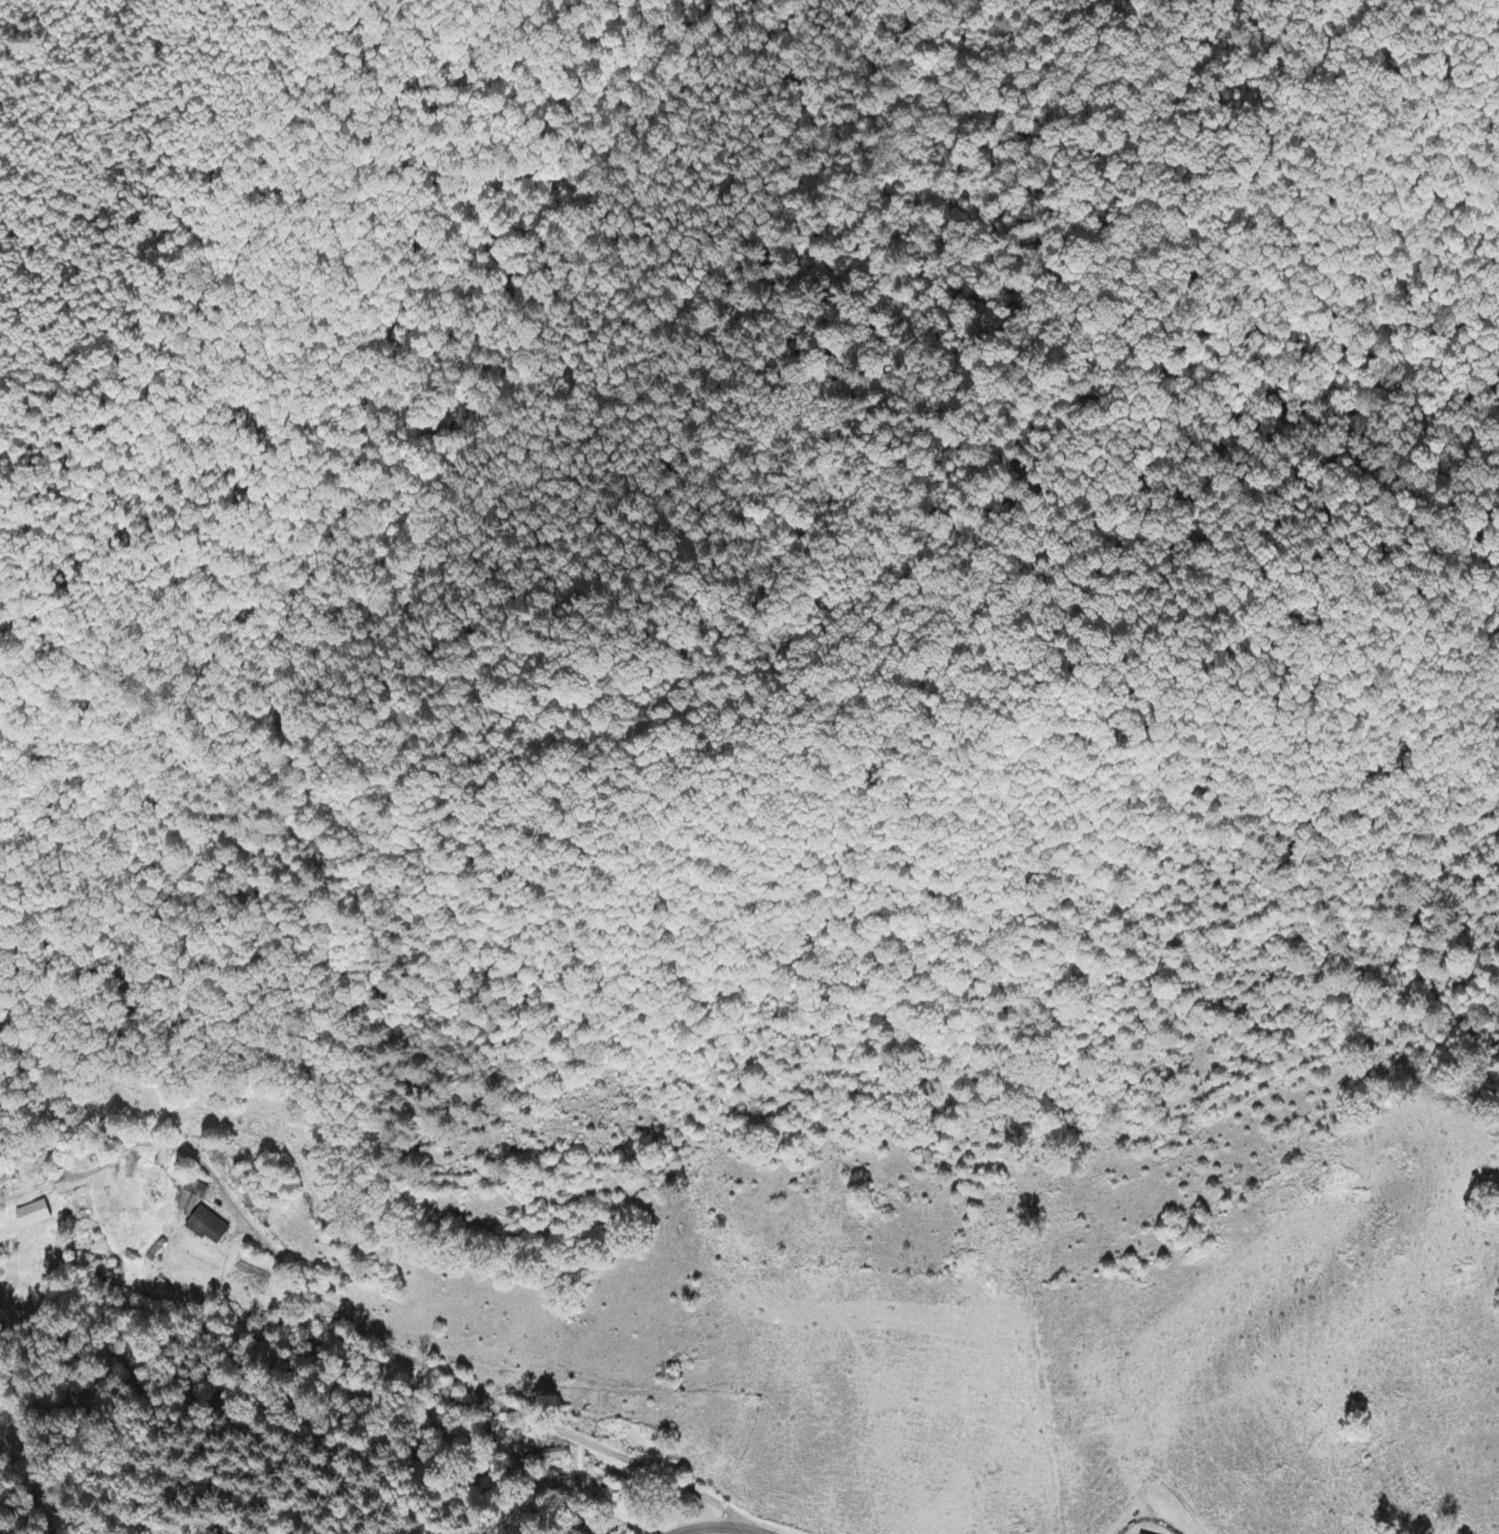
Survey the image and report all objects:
building: (191, 1198)
building: (36, 1216)
building: (210, 1228)
road: (380, 1334)
road: (666, 1479)
road: (707, 1530)
road: (752, 1531)

